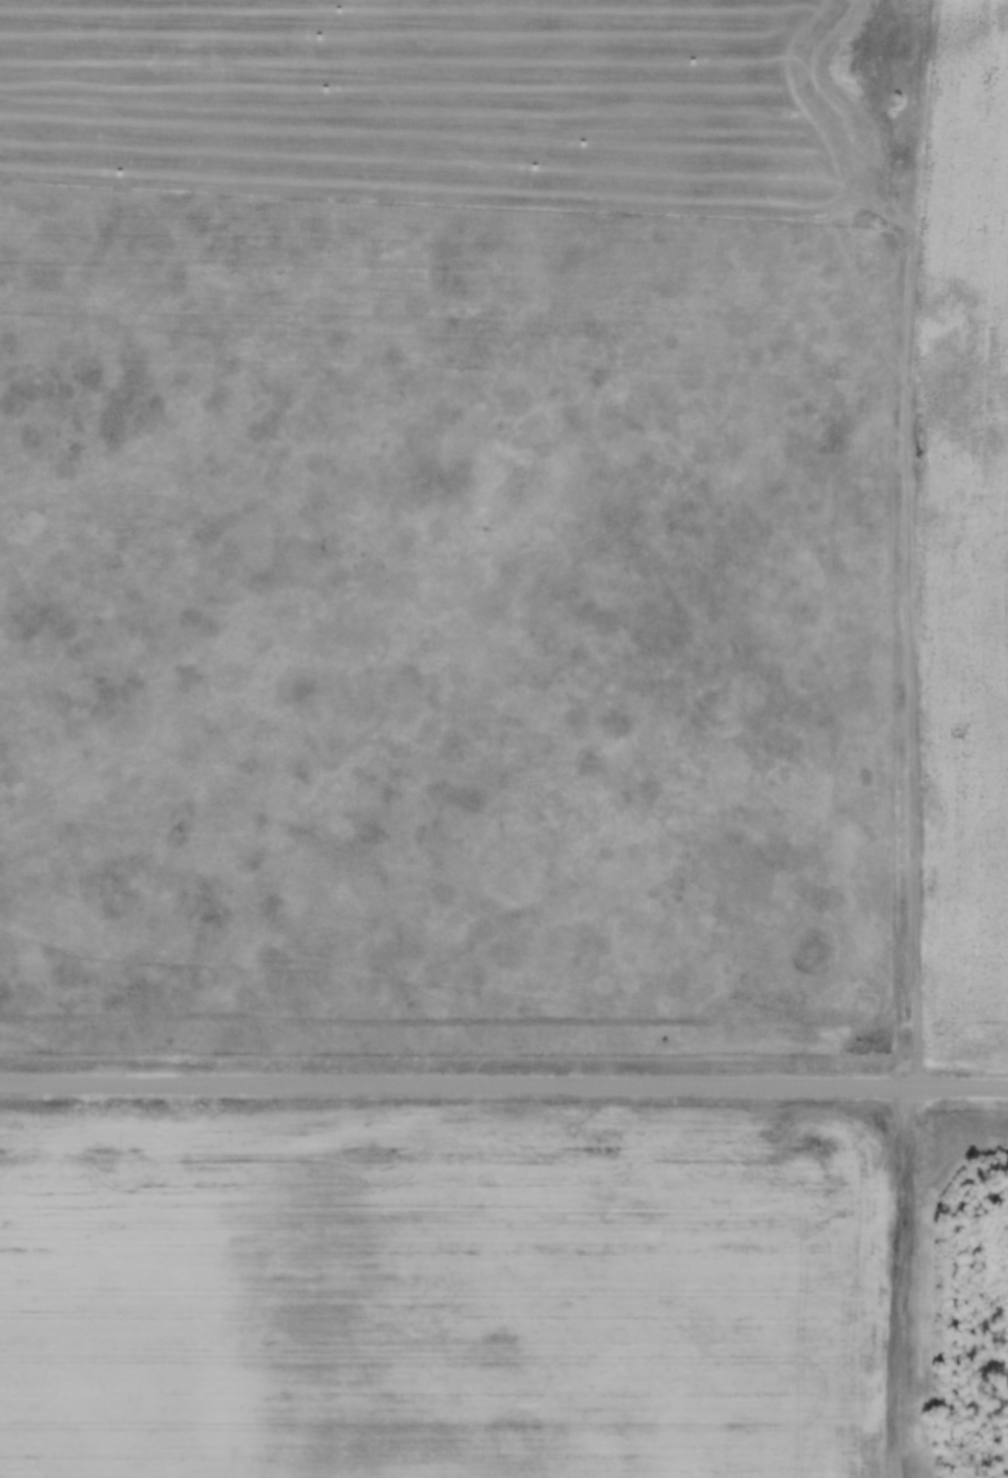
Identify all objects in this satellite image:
road: (504, 1086)
road: (899, 1282)

